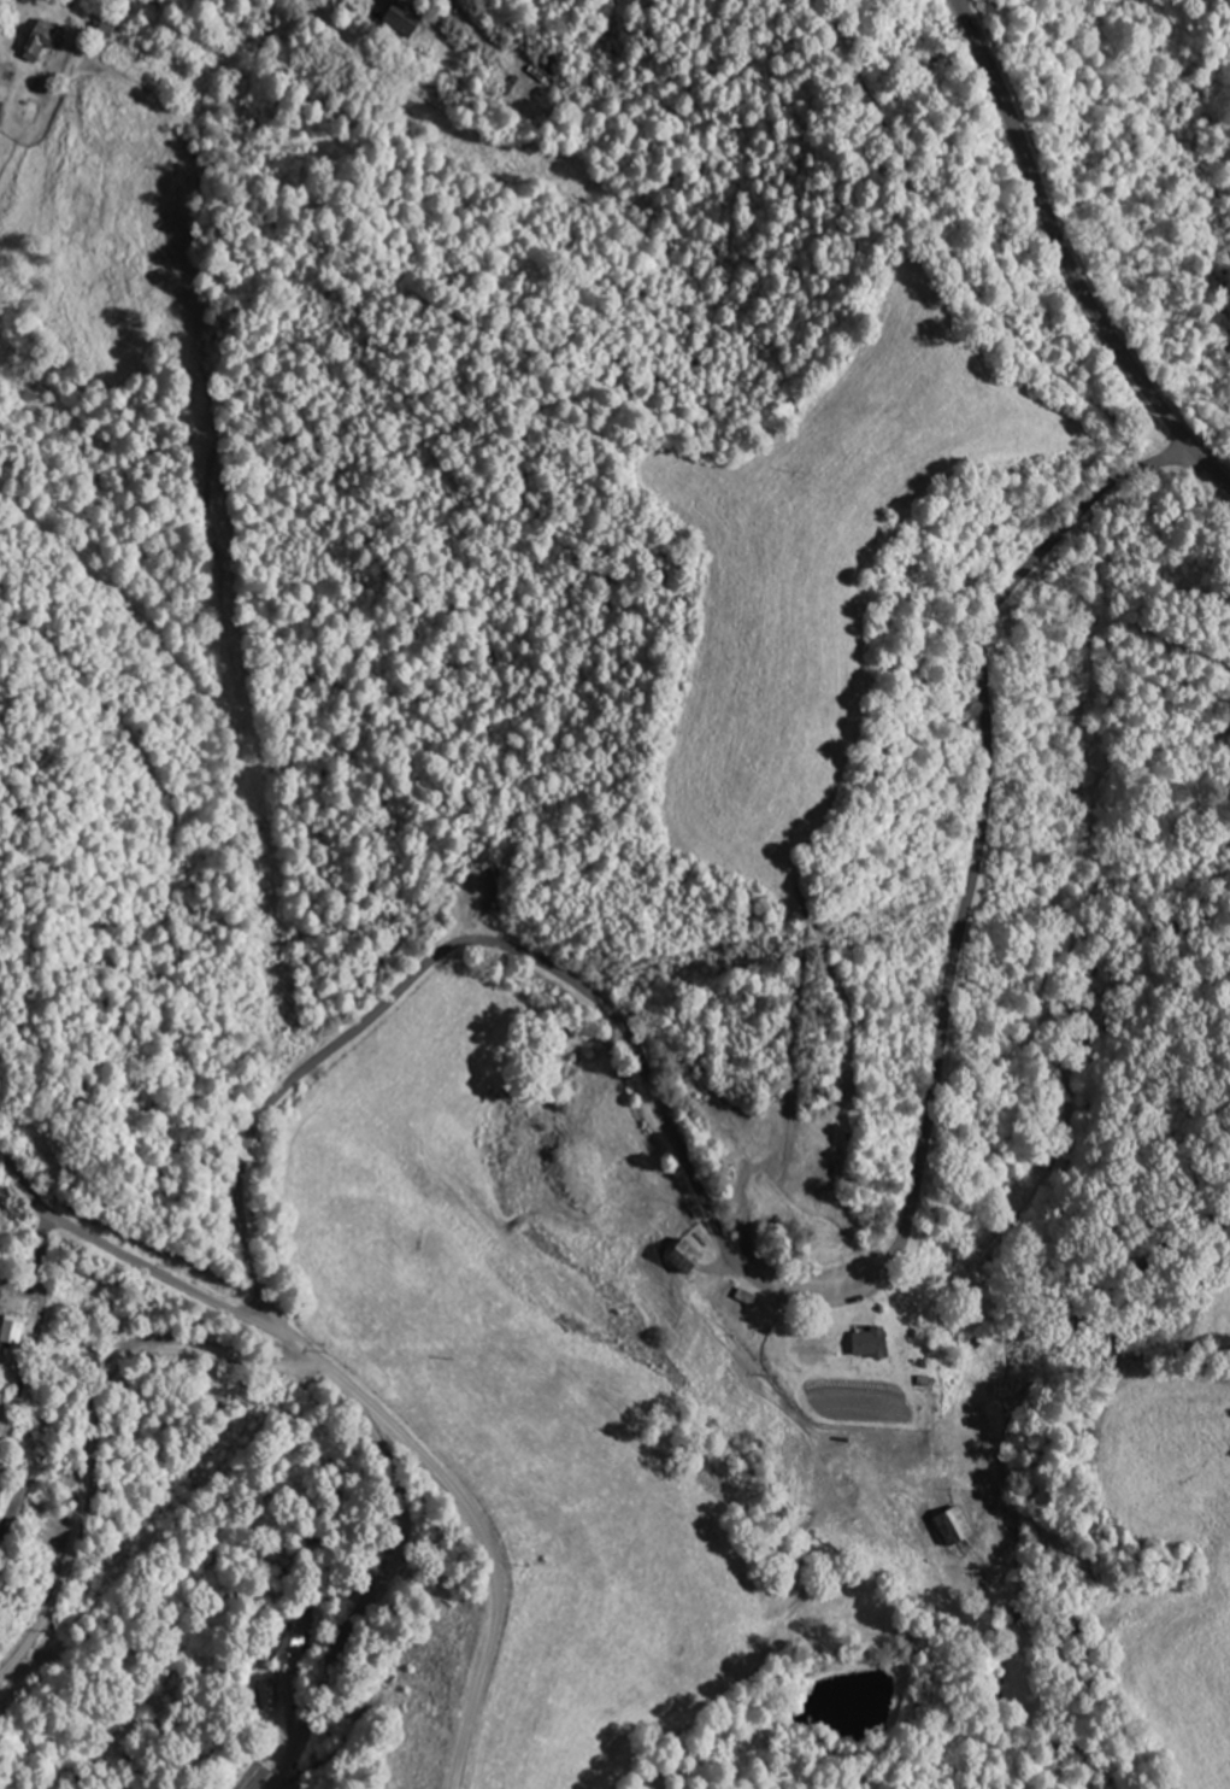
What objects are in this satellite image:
building: (394, 19)
building: (100, 30)
building: (37, 40)
building: (201, 107)
building: (0, 121)
road: (1067, 258)
road: (245, 1225)
road: (904, 1237)
building: (672, 1257)
building: (6, 1332)
building: (860, 1345)
building: (801, 1350)
road: (360, 1400)
road: (140, 1491)
building: (944, 1526)
building: (286, 1654)
building: (263, 1696)

